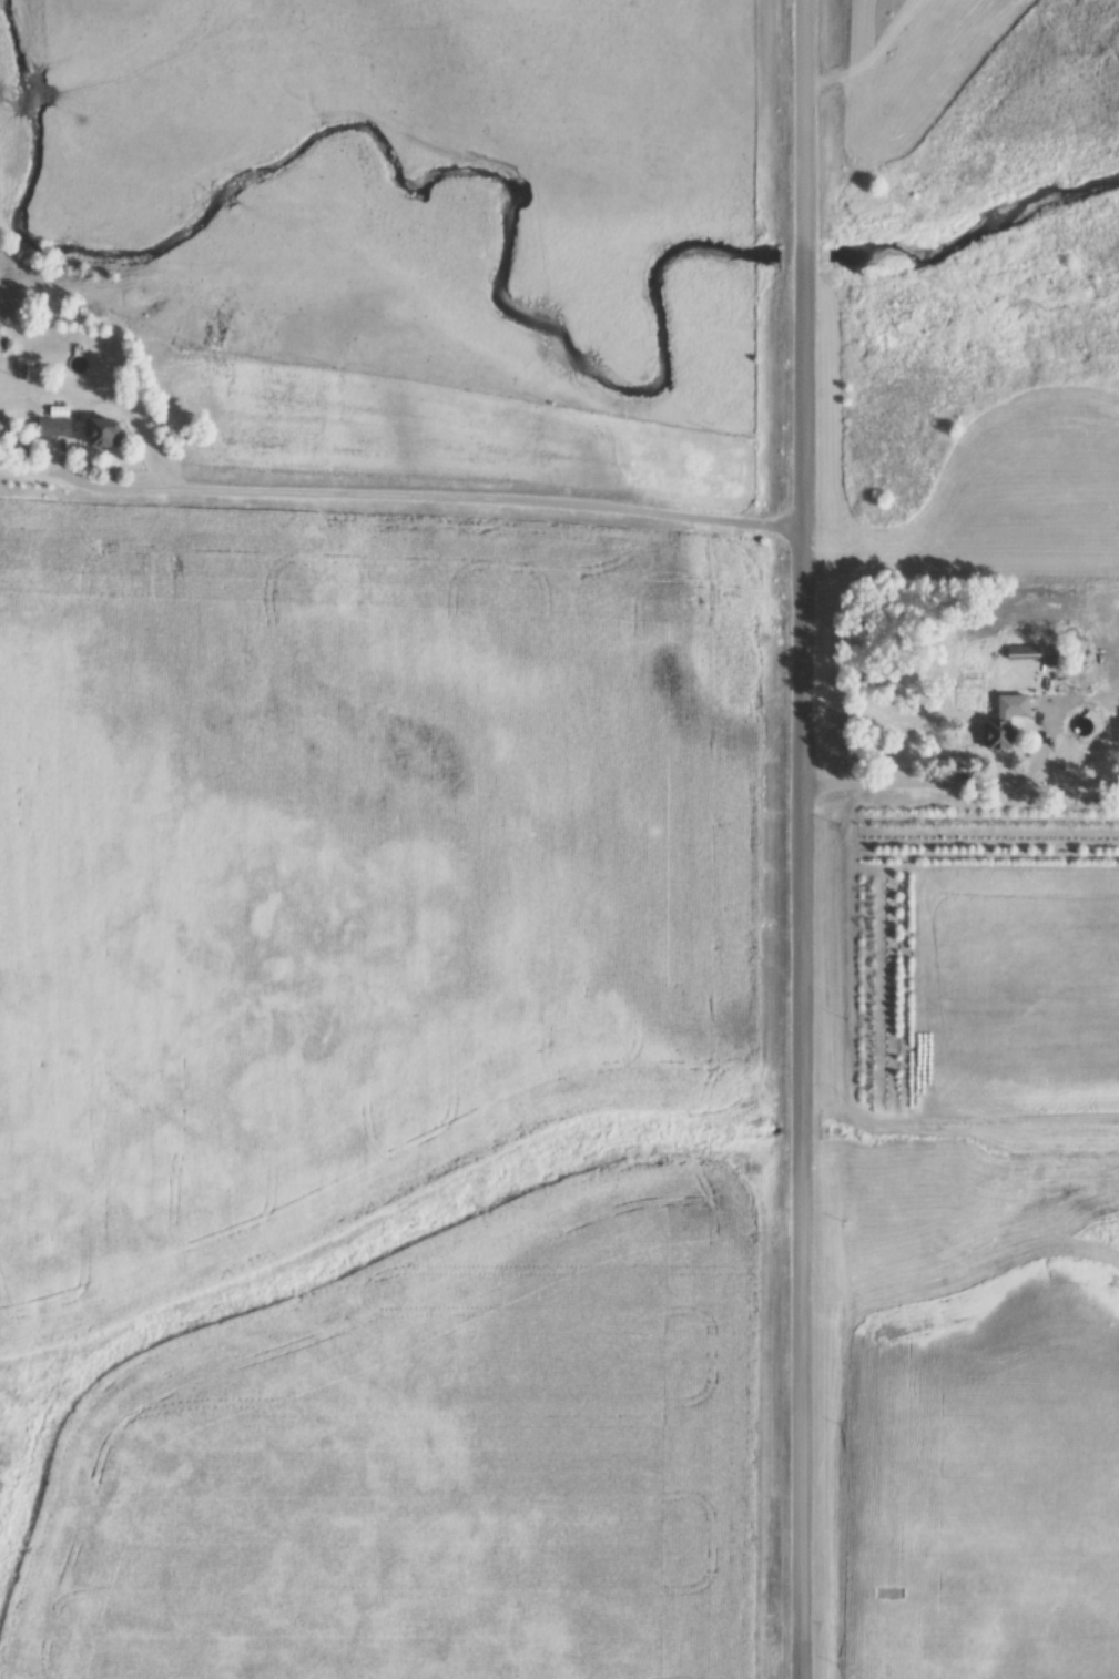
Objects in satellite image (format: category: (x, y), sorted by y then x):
building: (2, 340)
building: (3, 427)
building: (59, 428)
building: (109, 433)
road: (182, 484)
road: (499, 497)
road: (959, 568)
building: (1024, 652)
building: (1016, 708)
building: (1003, 736)
road: (950, 781)
road: (798, 838)
crop: (349, 883)
crop: (985, 995)
crop: (988, 1486)

